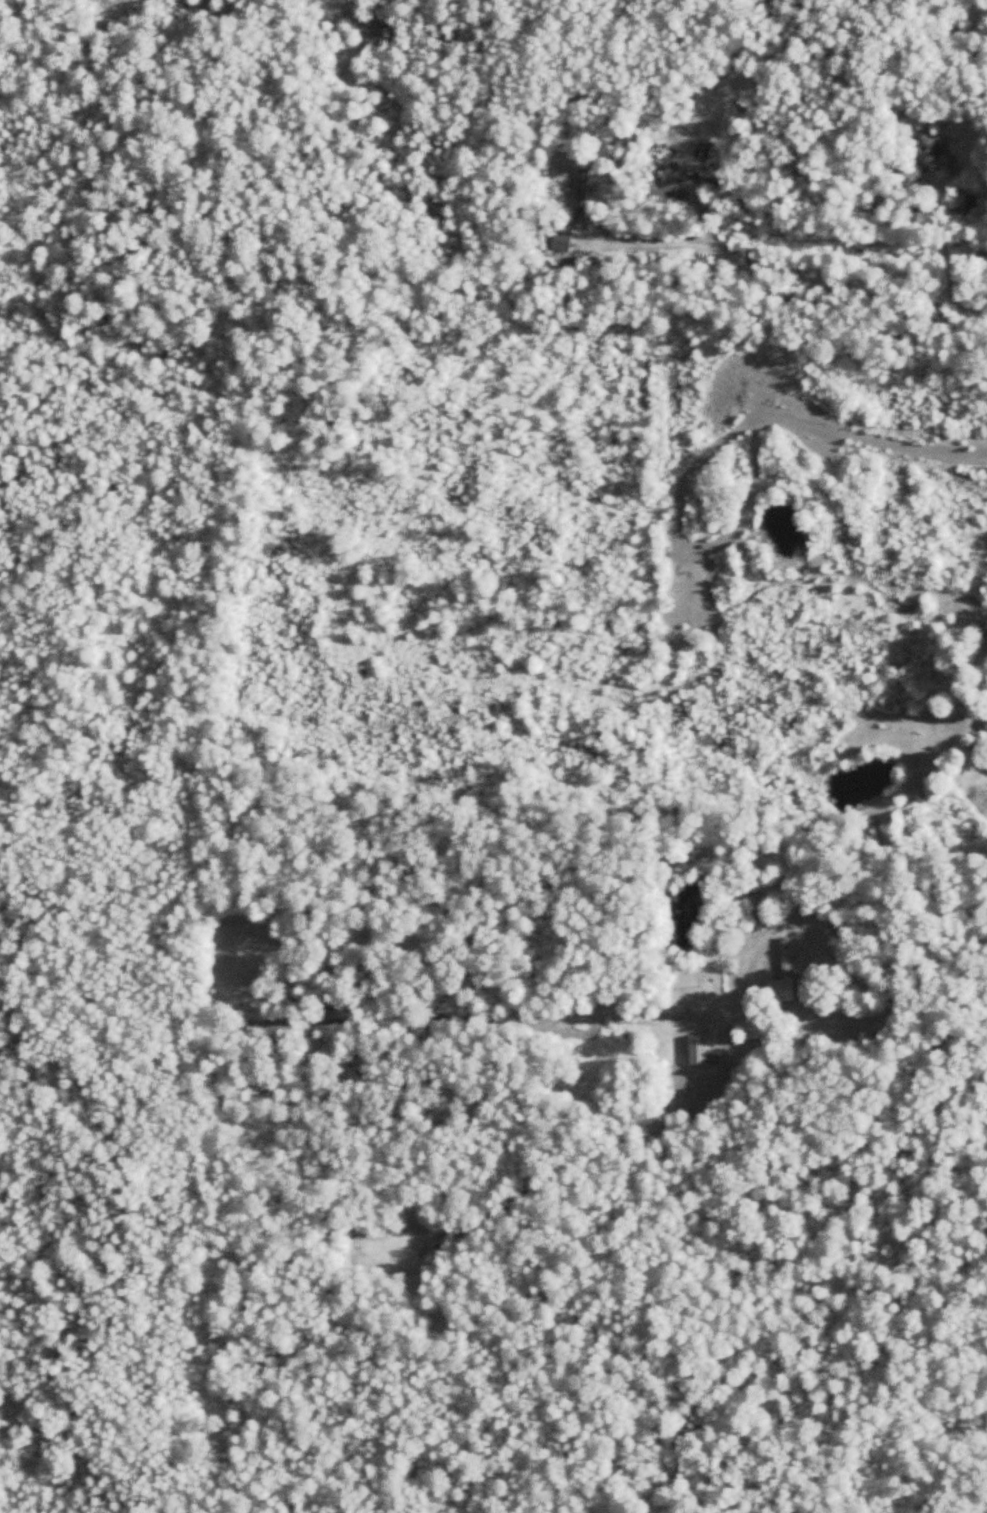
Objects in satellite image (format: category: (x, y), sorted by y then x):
building: (934, 148)
building: (670, 162)
building: (600, 171)
road: (788, 286)
building: (986, 720)
building: (758, 921)
building: (785, 975)
road: (890, 1007)
building: (673, 1012)
building: (698, 1050)

